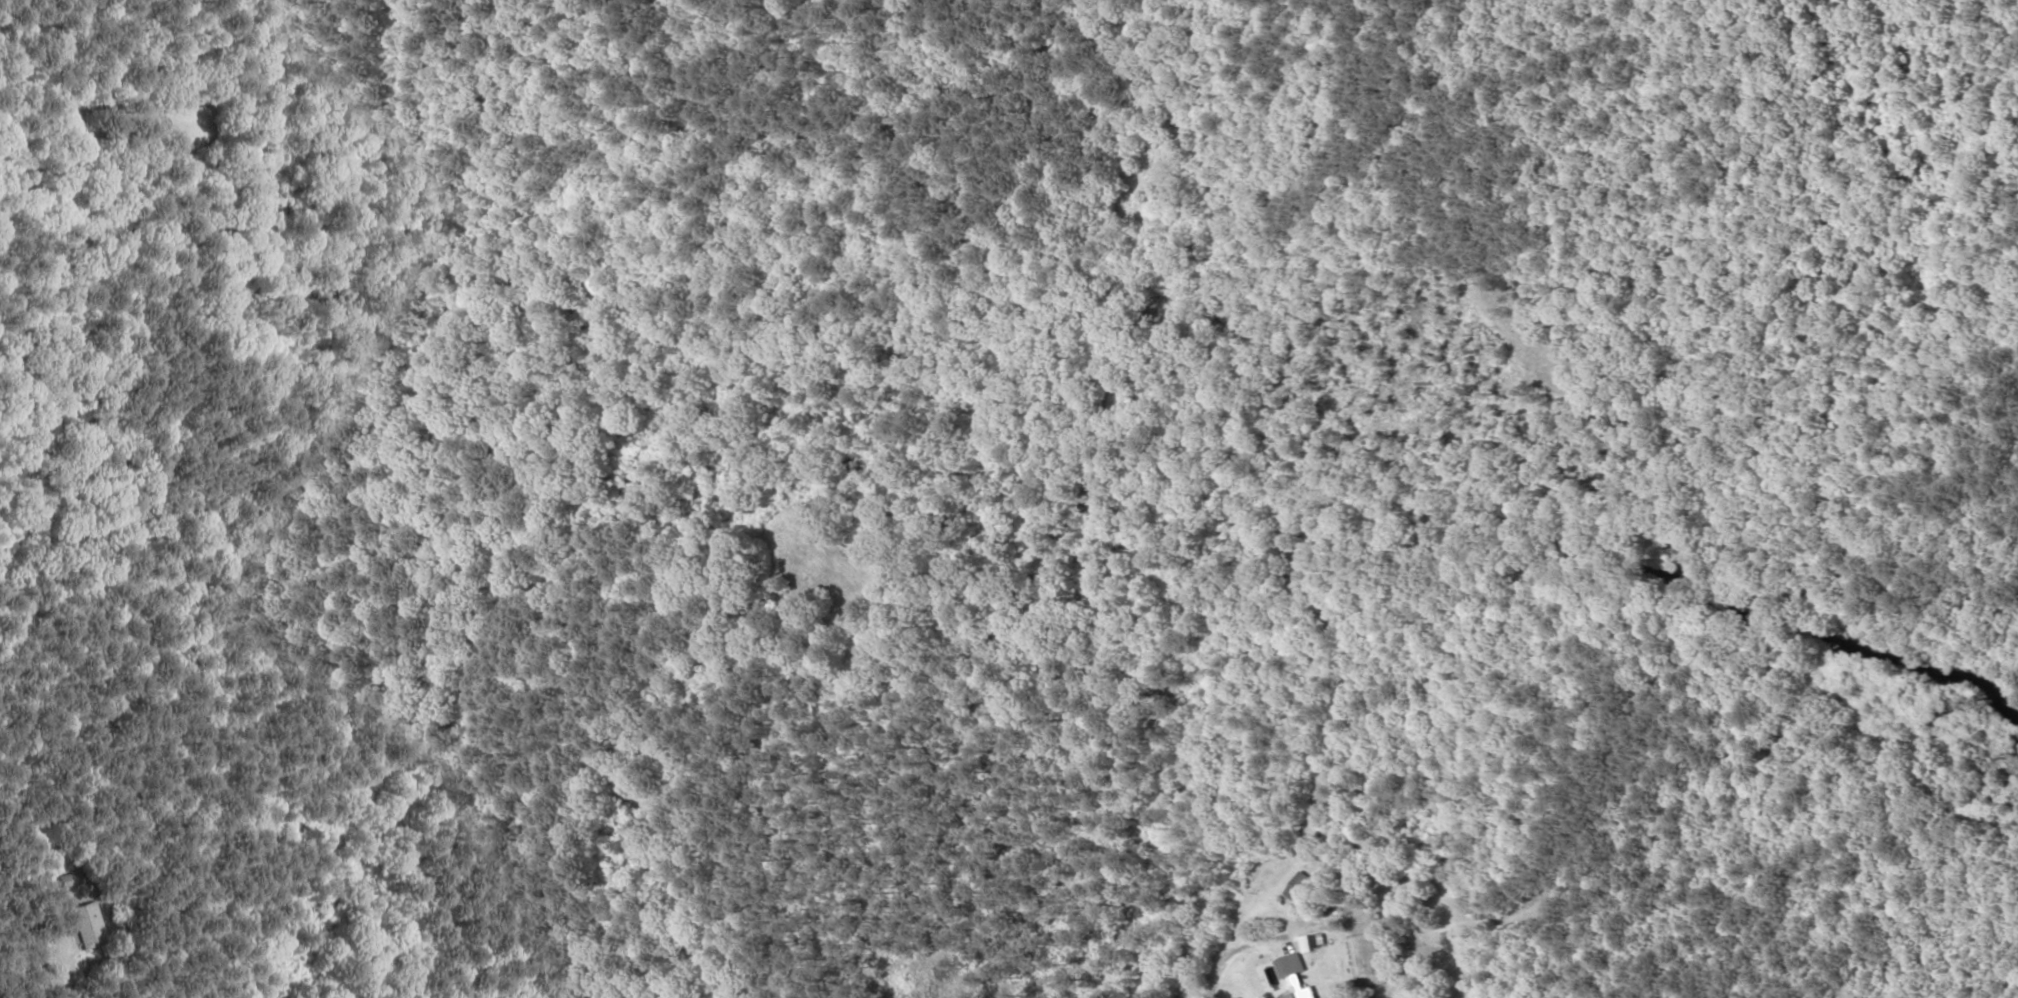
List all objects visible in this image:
road: (157, 854)
building: (1301, 886)
building: (83, 922)
building: (1313, 941)
building: (1301, 992)

